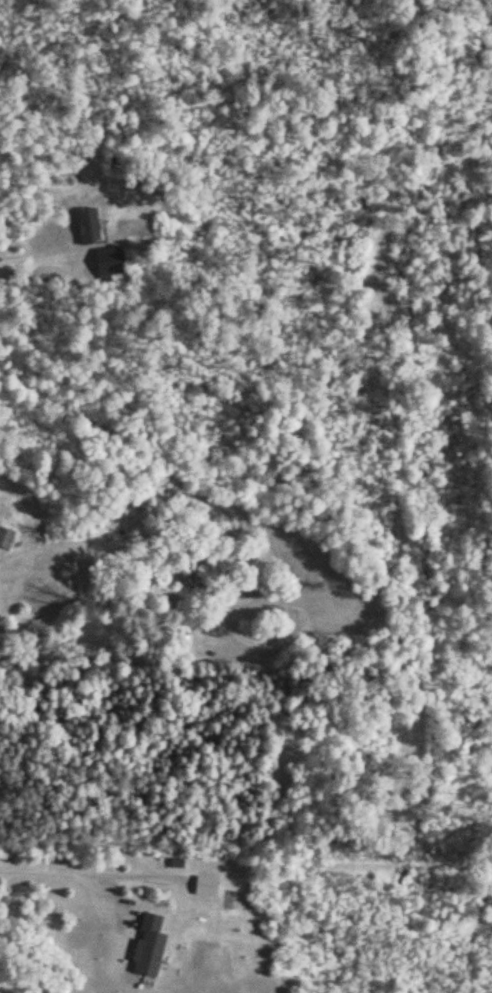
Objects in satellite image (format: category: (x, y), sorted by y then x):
building: (86, 224)
building: (104, 261)
road: (488, 268)
building: (5, 538)
road: (51, 870)
building: (147, 947)

